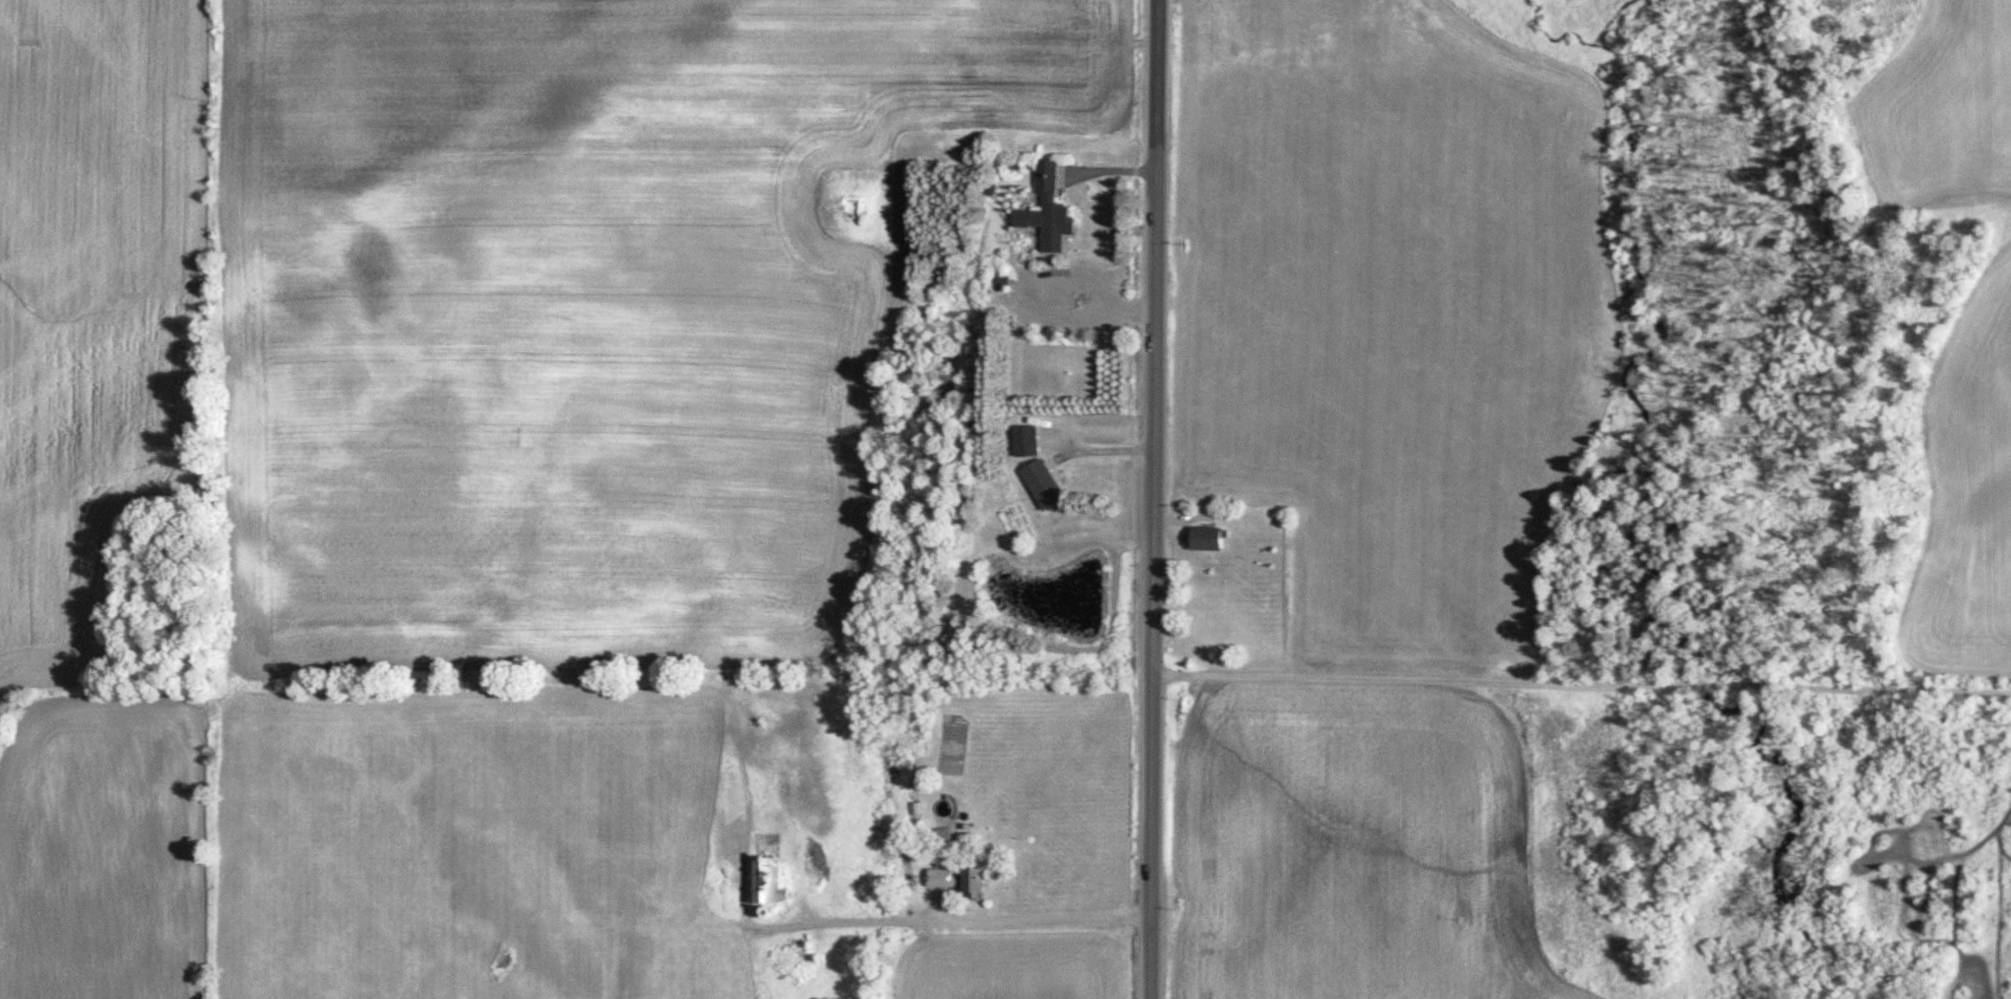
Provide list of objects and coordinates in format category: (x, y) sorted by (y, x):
building: (1054, 209)
building: (1031, 440)
building: (1047, 485)
road: (1156, 499)
building: (1214, 539)
road: (1580, 694)
building: (947, 878)
building: (772, 880)
building: (983, 881)

